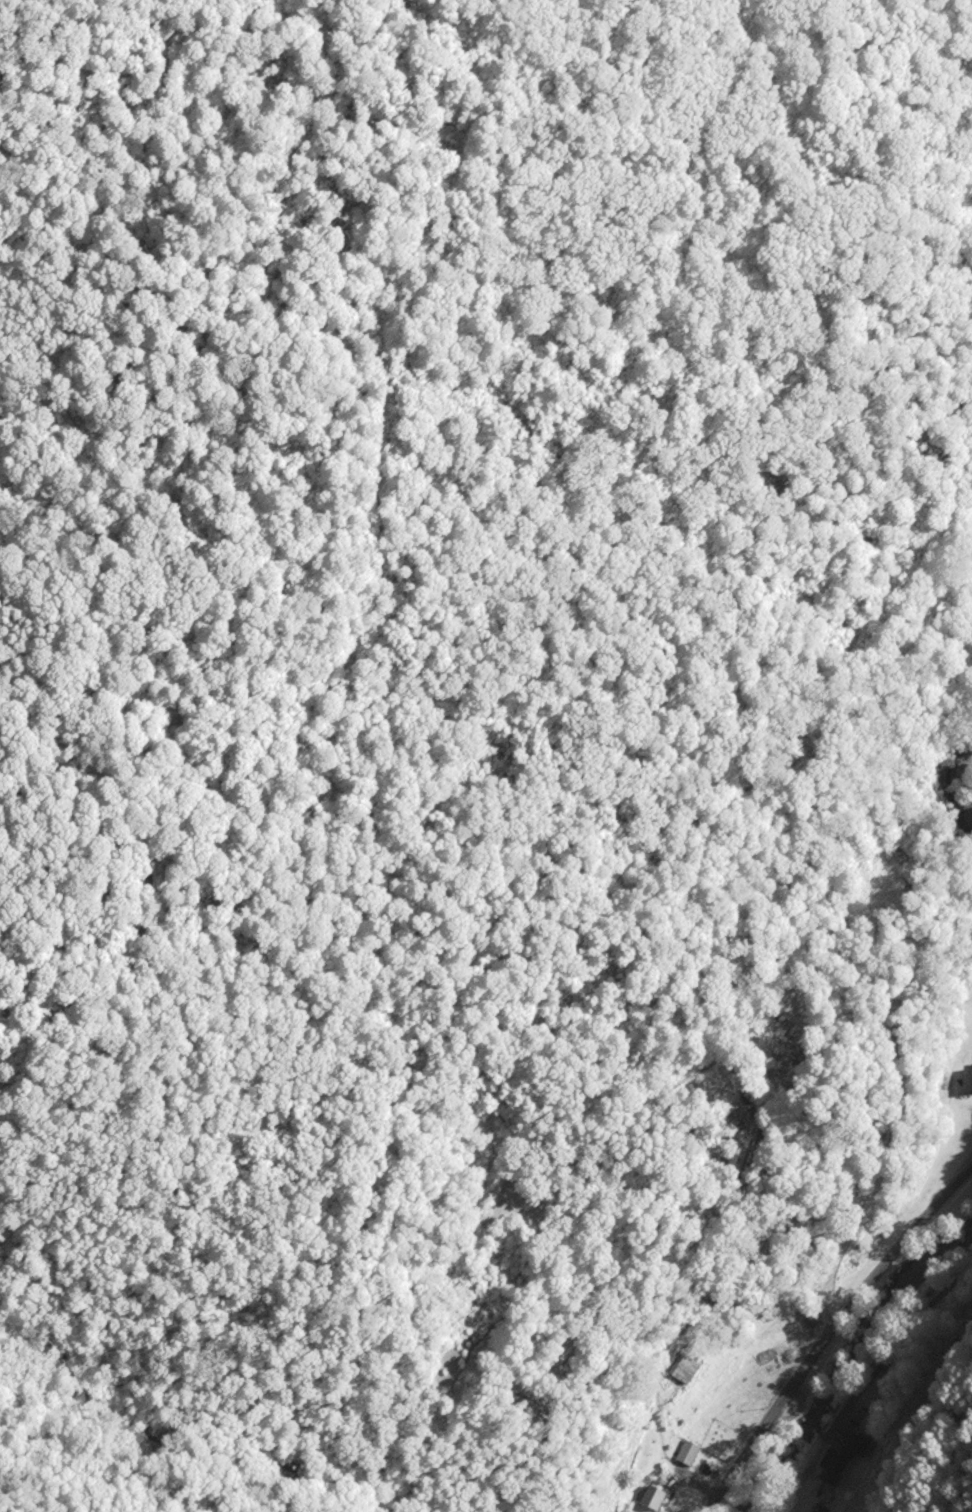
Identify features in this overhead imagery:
building: (965, 1081)
building: (811, 1317)
road: (830, 1331)
road: (899, 1337)
building: (682, 1368)
building: (858, 1446)
building: (687, 1452)
building: (832, 1466)
building: (652, 1497)

